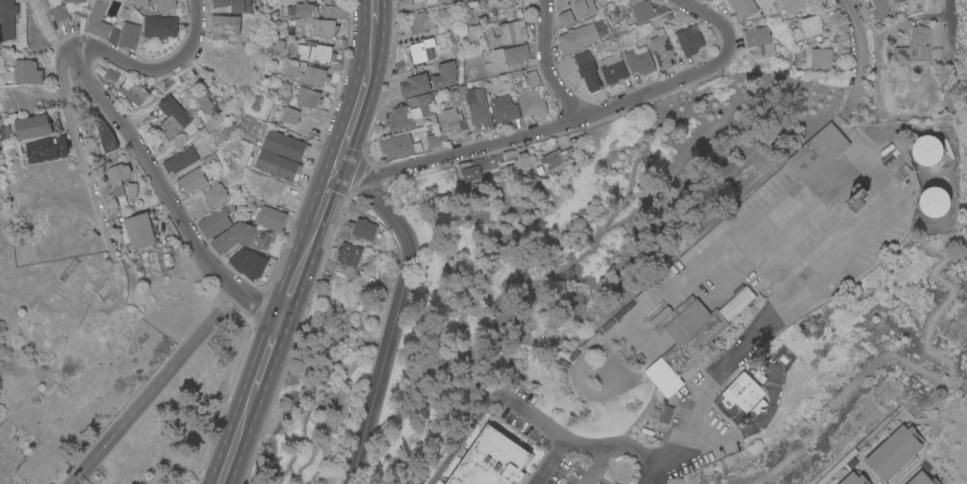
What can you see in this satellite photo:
building: (472, 0)
building: (74, 1)
building: (219, 3)
building: (428, 3)
building: (794, 4)
building: (156, 5)
building: (240, 6)
building: (741, 7)
road: (949, 7)
building: (582, 8)
building: (884, 8)
building: (220, 9)
building: (304, 9)
building: (641, 9)
road: (375, 11)
building: (333, 12)
building: (60, 14)
building: (488, 14)
building: (5, 18)
building: (565, 18)
road: (710, 18)
building: (98, 20)
building: (417, 22)
building: (811, 25)
building: (160, 26)
building: (224, 27)
building: (322, 28)
building: (508, 33)
building: (129, 35)
building: (114, 36)
building: (756, 36)
building: (577, 38)
building: (690, 39)
building: (843, 40)
building: (912, 43)
building: (662, 48)
road: (371, 50)
building: (299, 51)
building: (422, 51)
building: (512, 54)
building: (821, 57)
road: (860, 58)
building: (638, 59)
road: (548, 63)
building: (612, 68)
road: (152, 70)
building: (291, 70)
building: (587, 70)
building: (27, 71)
building: (445, 74)
building: (313, 77)
building: (881, 79)
building: (414, 85)
building: (500, 85)
building: (133, 92)
building: (307, 98)
building: (531, 101)
building: (204, 103)
building: (255, 103)
building: (424, 104)
building: (504, 108)
building: (479, 111)
building: (172, 118)
building: (288, 118)
building: (399, 119)
building: (451, 120)
road: (350, 124)
building: (33, 127)
road: (535, 129)
building: (434, 140)
building: (399, 145)
building: (285, 146)
road: (76, 147)
building: (927, 149)
storage tank: (927, 149)
building: (45, 150)
building: (818, 152)
road: (870, 159)
building: (898, 160)
building: (180, 161)
building: (210, 161)
building: (552, 161)
building: (277, 166)
building: (472, 173)
building: (117, 177)
building: (191, 181)
road: (814, 188)
building: (131, 190)
road: (163, 191)
building: (214, 194)
road: (325, 195)
building: (856, 198)
building: (934, 201)
storage tank: (934, 201)
building: (196, 211)
building: (270, 218)
building: (214, 223)
building: (367, 230)
building: (139, 231)
road: (858, 236)
building: (241, 238)
building: (348, 258)
road: (710, 258)
building: (248, 264)
road: (298, 266)
road: (746, 271)
building: (98, 284)
building: (650, 307)
building: (660, 315)
road: (393, 326)
building: (693, 338)
road: (266, 352)
road: (730, 358)
building: (566, 359)
road: (157, 382)
building: (743, 392)
storage tank: (940, 393)
building: (757, 406)
building: (666, 414)
road: (530, 417)
road: (499, 426)
building: (647, 428)
road: (460, 436)
road: (236, 437)
road: (592, 446)
building: (893, 452)
building: (491, 460)
road: (594, 467)
road: (656, 475)
building: (853, 478)
road: (73, 479)
building: (921, 479)

